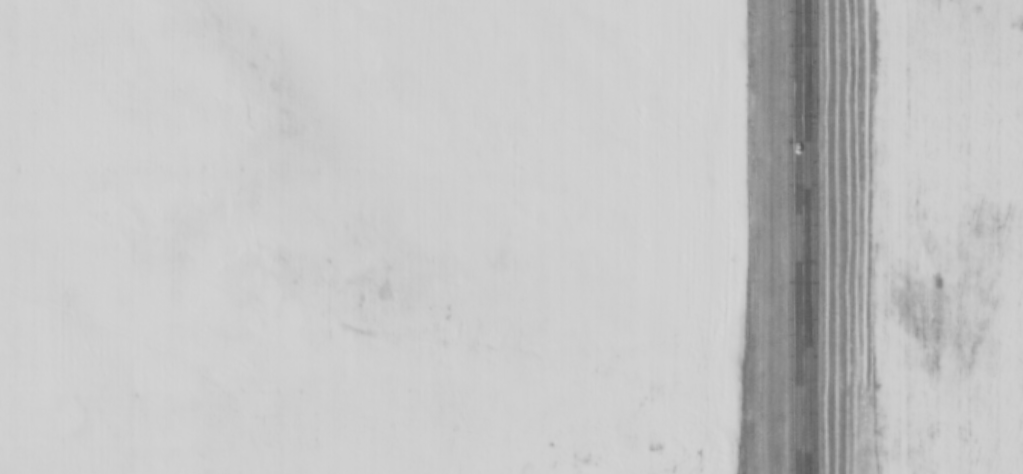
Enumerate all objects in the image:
road: (802, 237)

